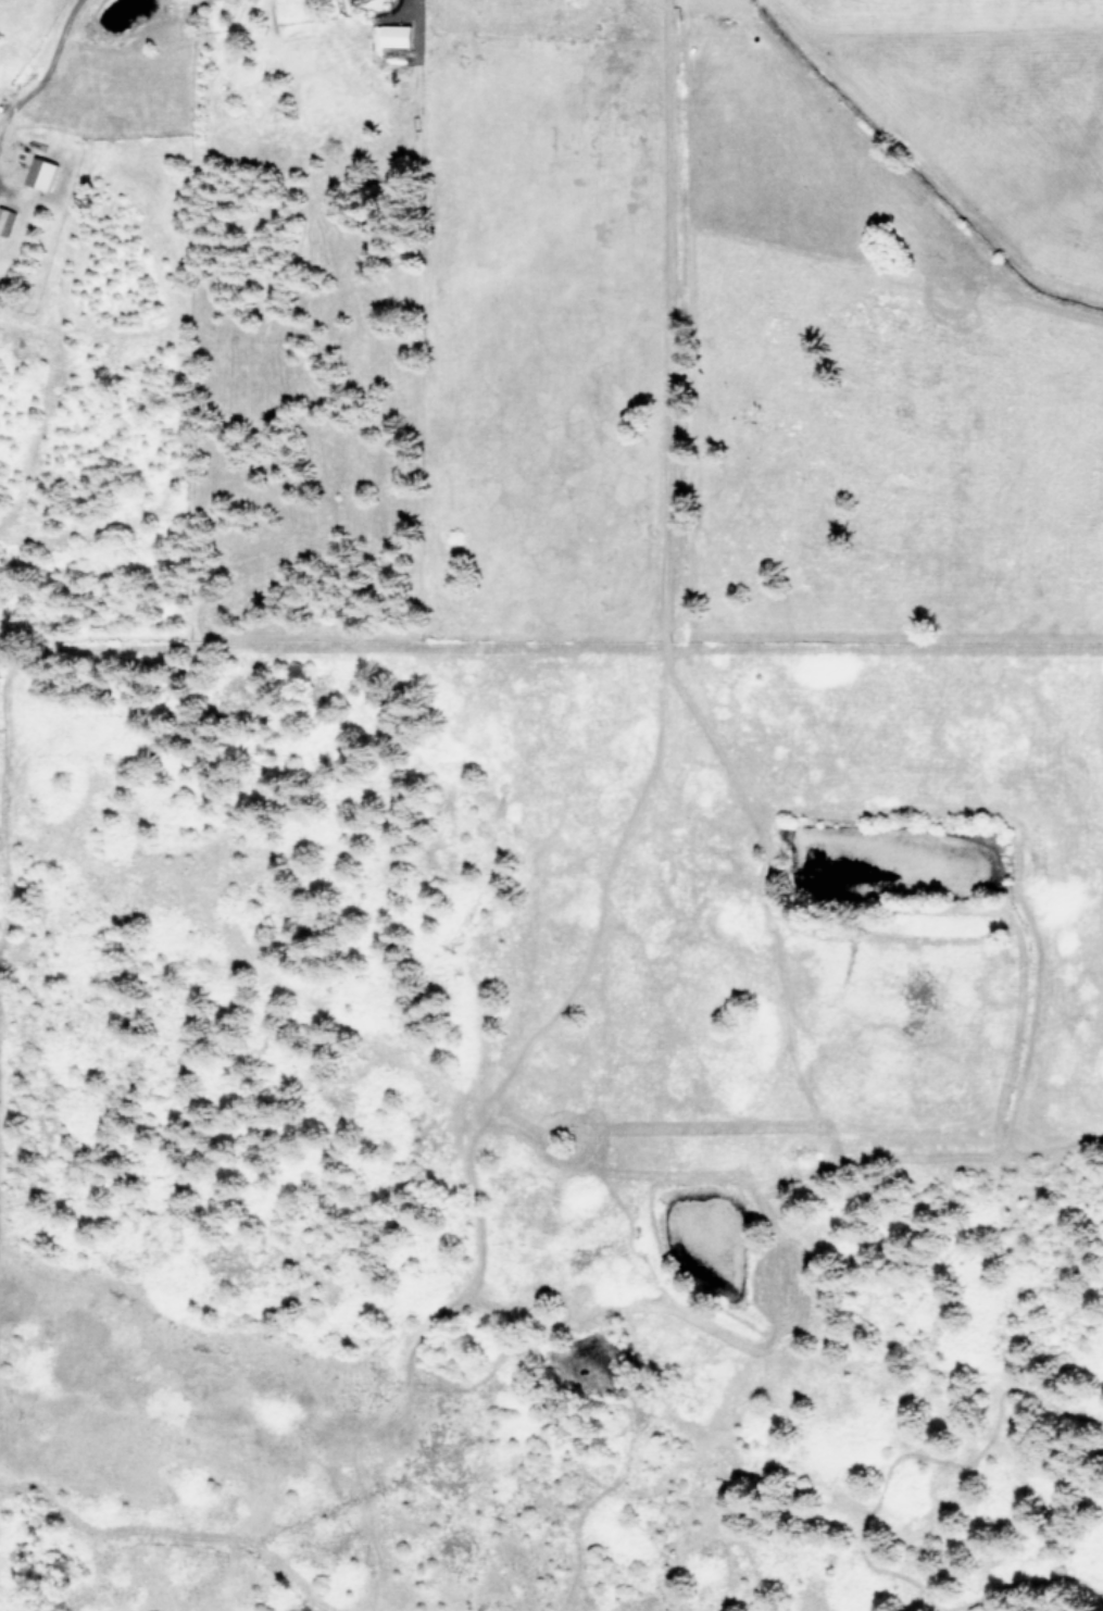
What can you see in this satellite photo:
building: (391, 35)
road: (38, 58)
building: (38, 172)
building: (4, 218)

